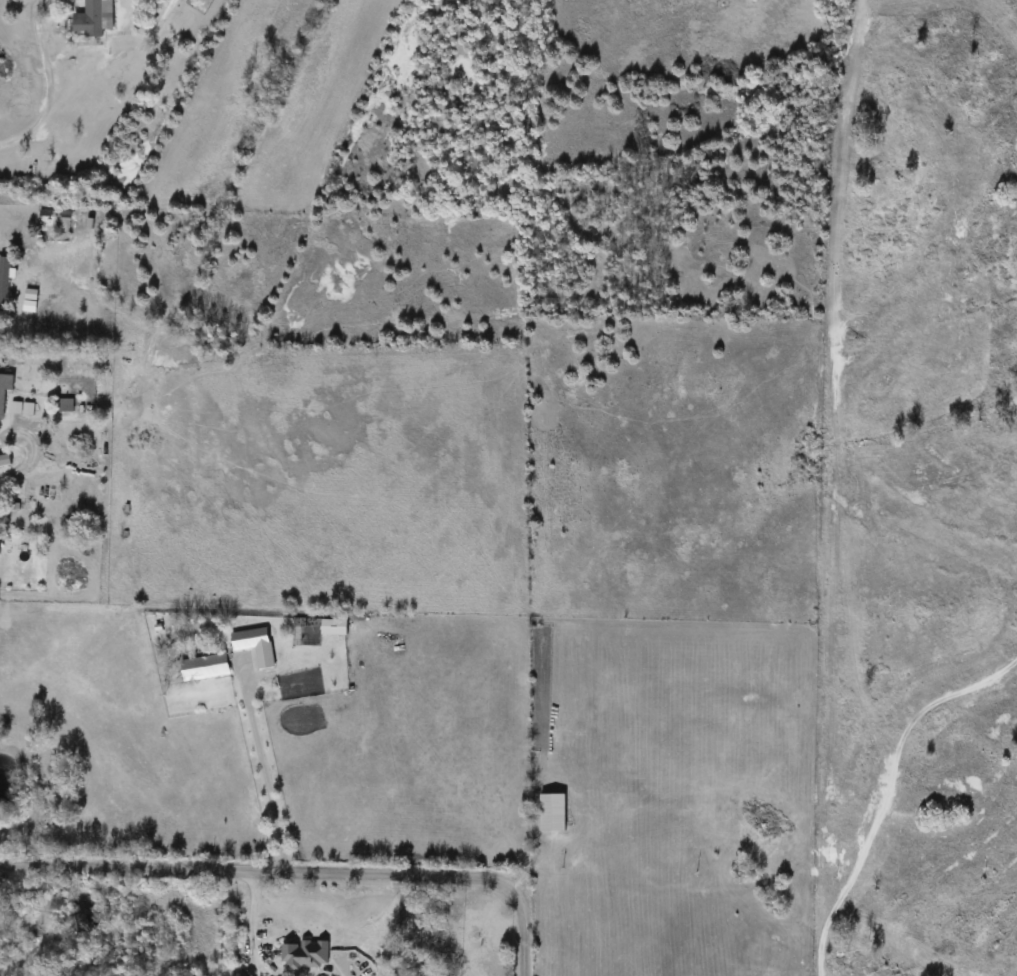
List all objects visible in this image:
building: (96, 18)
road: (49, 87)
building: (5, 281)
road: (17, 326)
building: (5, 392)
building: (66, 405)
building: (22, 409)
road: (29, 450)
building: (337, 627)
building: (257, 646)
building: (206, 668)
road: (267, 778)
building: (555, 814)
road: (301, 873)
road: (250, 923)
building: (306, 957)

